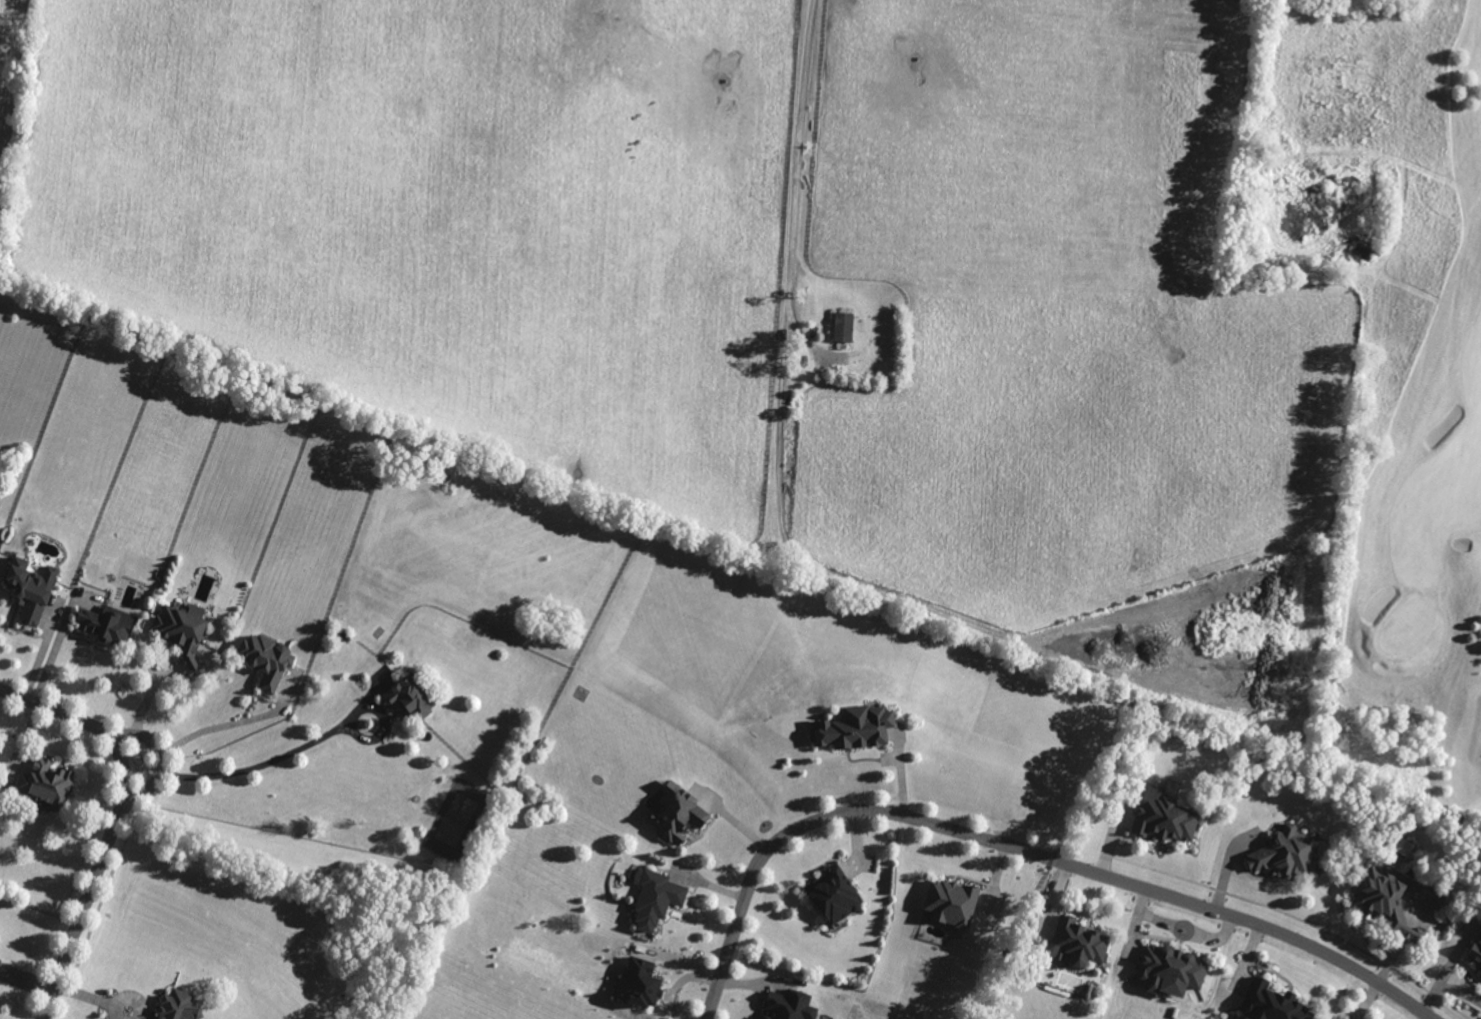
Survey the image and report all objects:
road: (796, 183)
building: (843, 327)
park: (1416, 387)
building: (26, 590)
building: (100, 626)
building: (178, 628)
road: (52, 656)
building: (409, 700)
road: (230, 724)
building: (854, 729)
road: (161, 761)
road: (272, 762)
building: (52, 783)
building: (673, 815)
building: (1162, 818)
road: (115, 822)
road: (1019, 848)
building: (1277, 855)
building: (831, 896)
building: (652, 900)
building: (1392, 900)
building: (1075, 942)
building: (1473, 957)
building: (1, 965)
building: (1167, 969)
building: (648, 983)
building: (1268, 1003)
building: (183, 1006)
building: (795, 1006)

